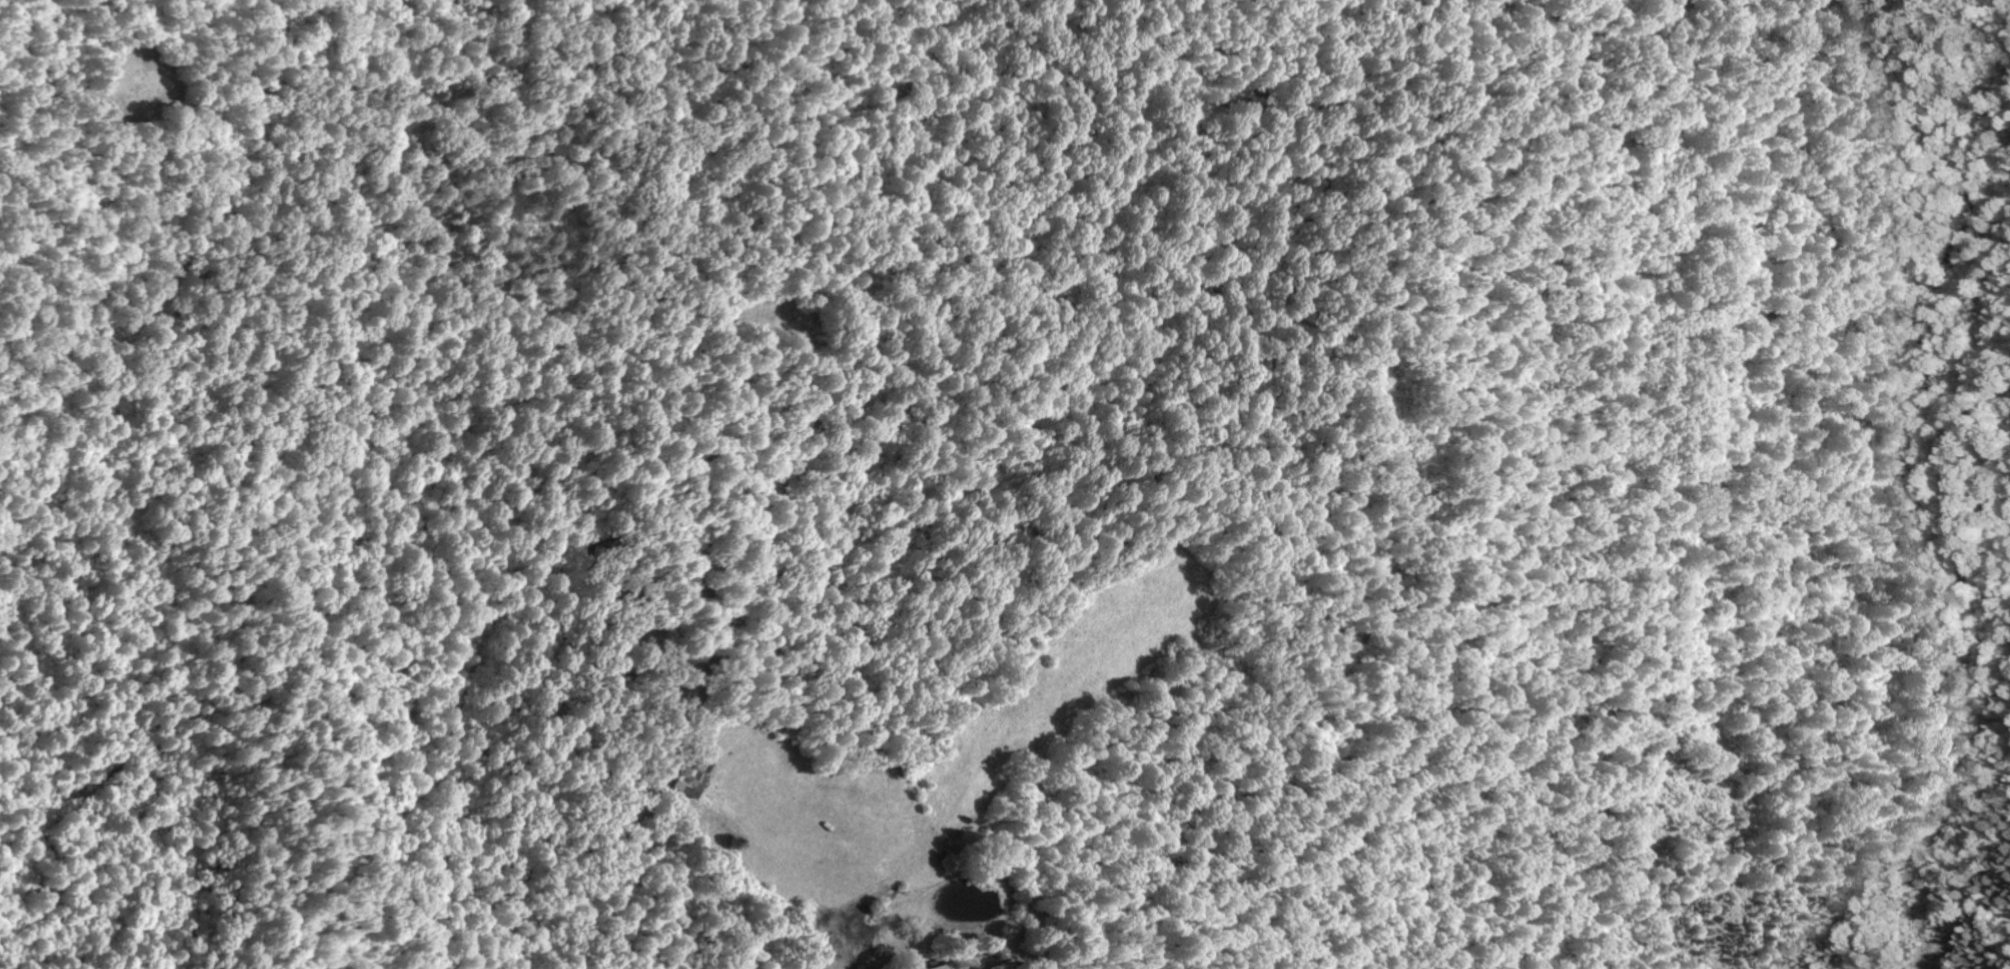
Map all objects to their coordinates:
building: (692, 781)
road: (646, 960)
building: (939, 966)

